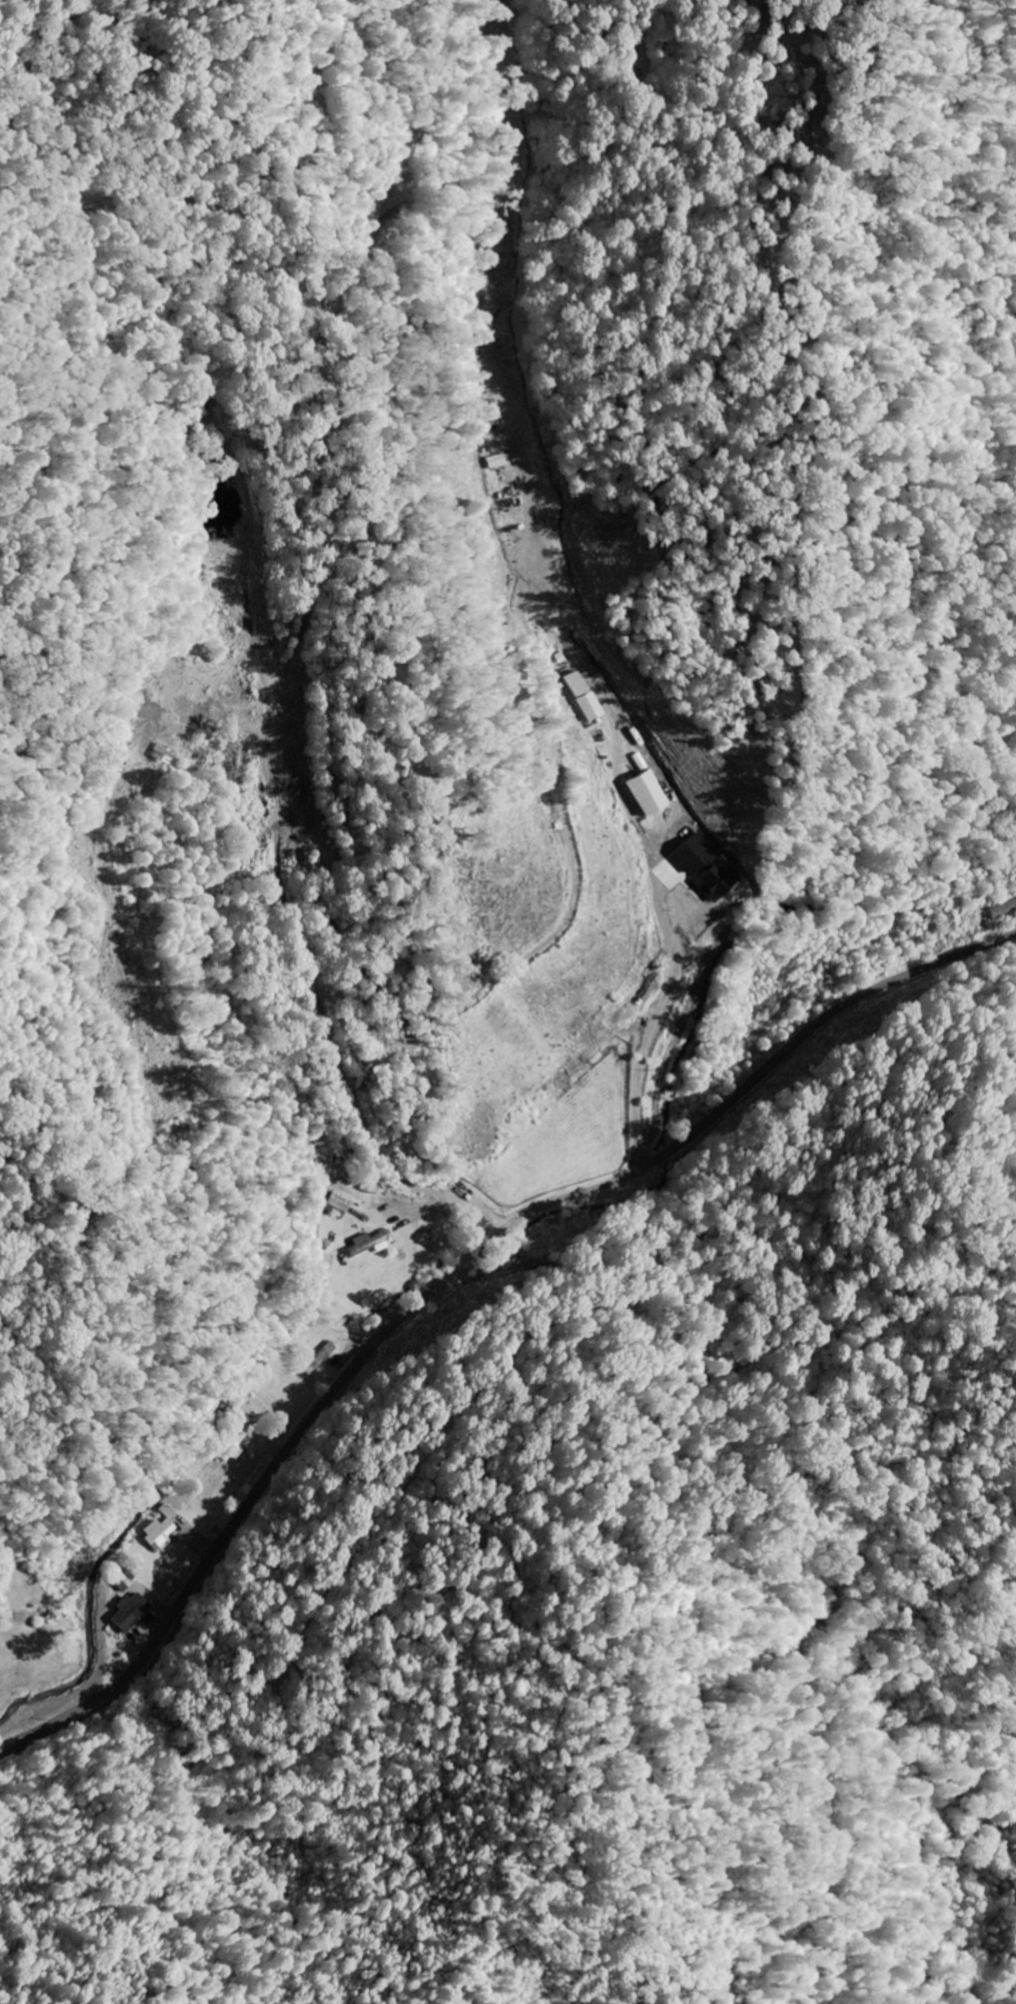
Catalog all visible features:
building: (587, 696)
building: (651, 794)
building: (719, 881)
building: (1002, 910)
road: (382, 1075)
building: (339, 1205)
building: (371, 1244)
road: (452, 1274)
building: (162, 1529)
building: (133, 1614)

